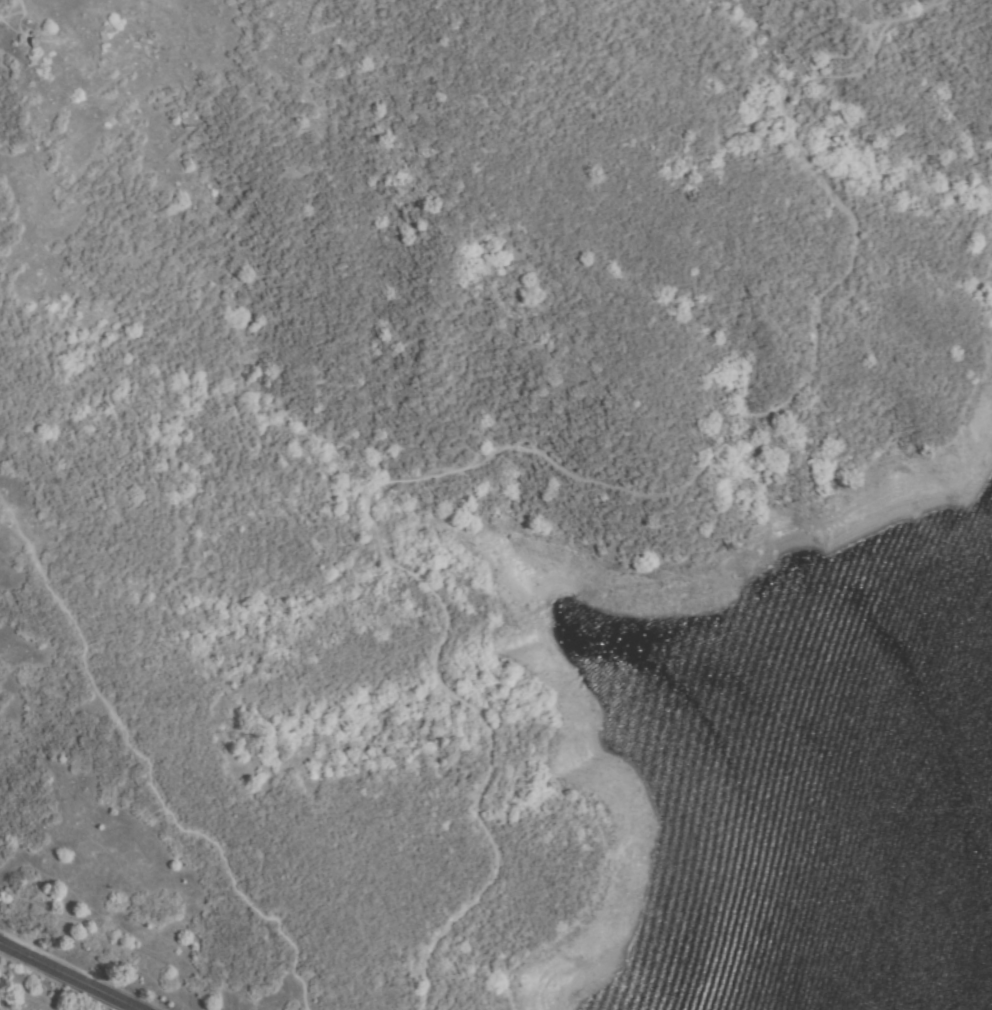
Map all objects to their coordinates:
road: (564, 469)
road: (67, 977)

